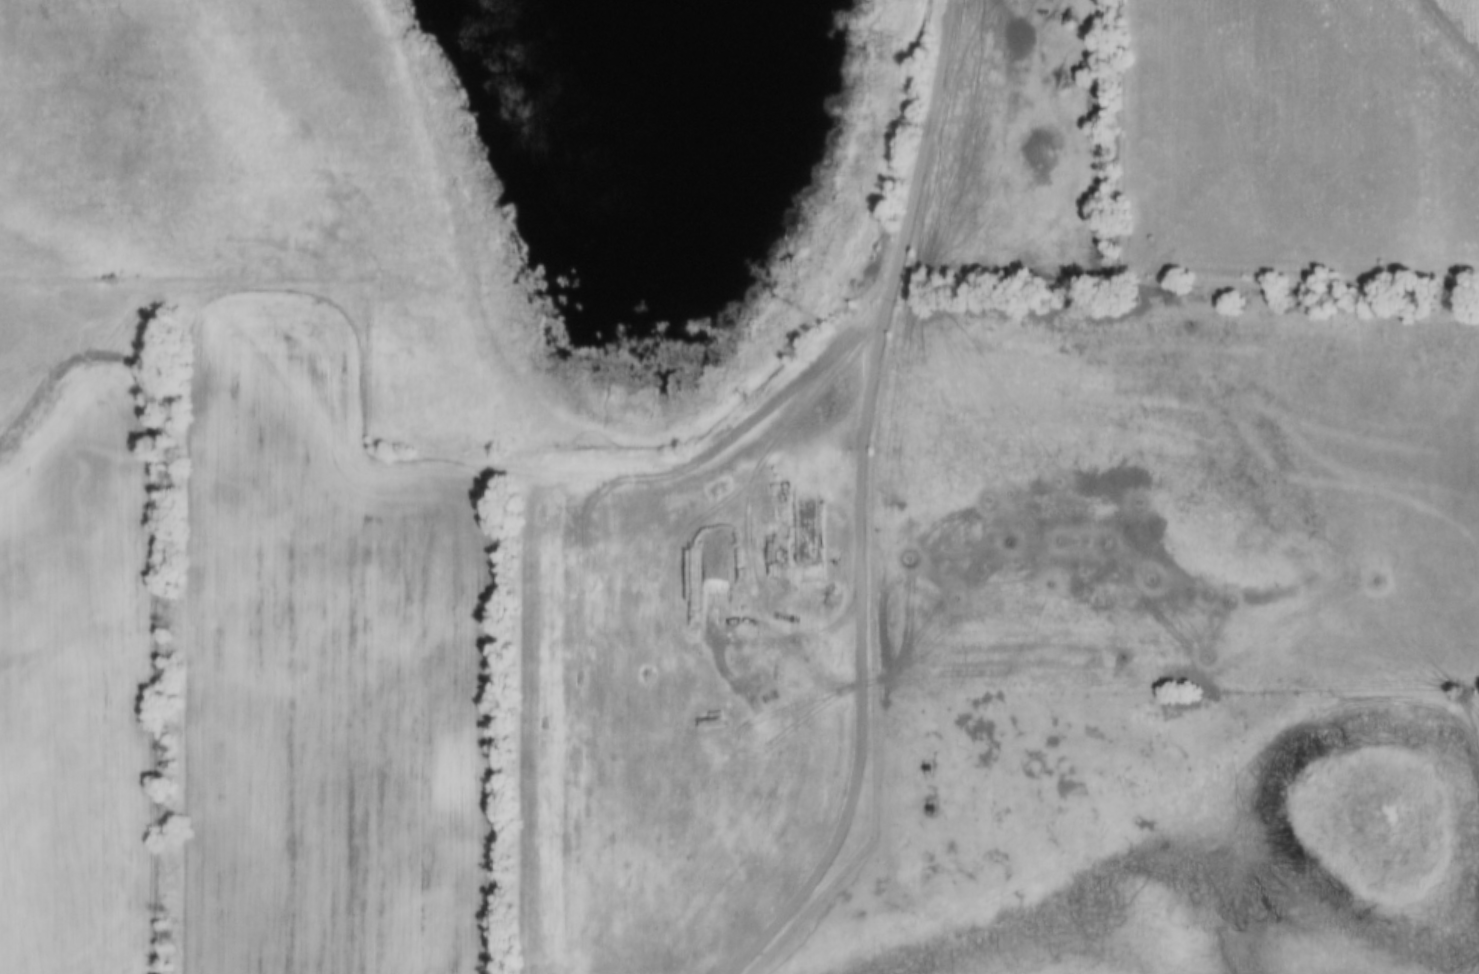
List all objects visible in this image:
road: (401, 459)
road: (857, 502)

